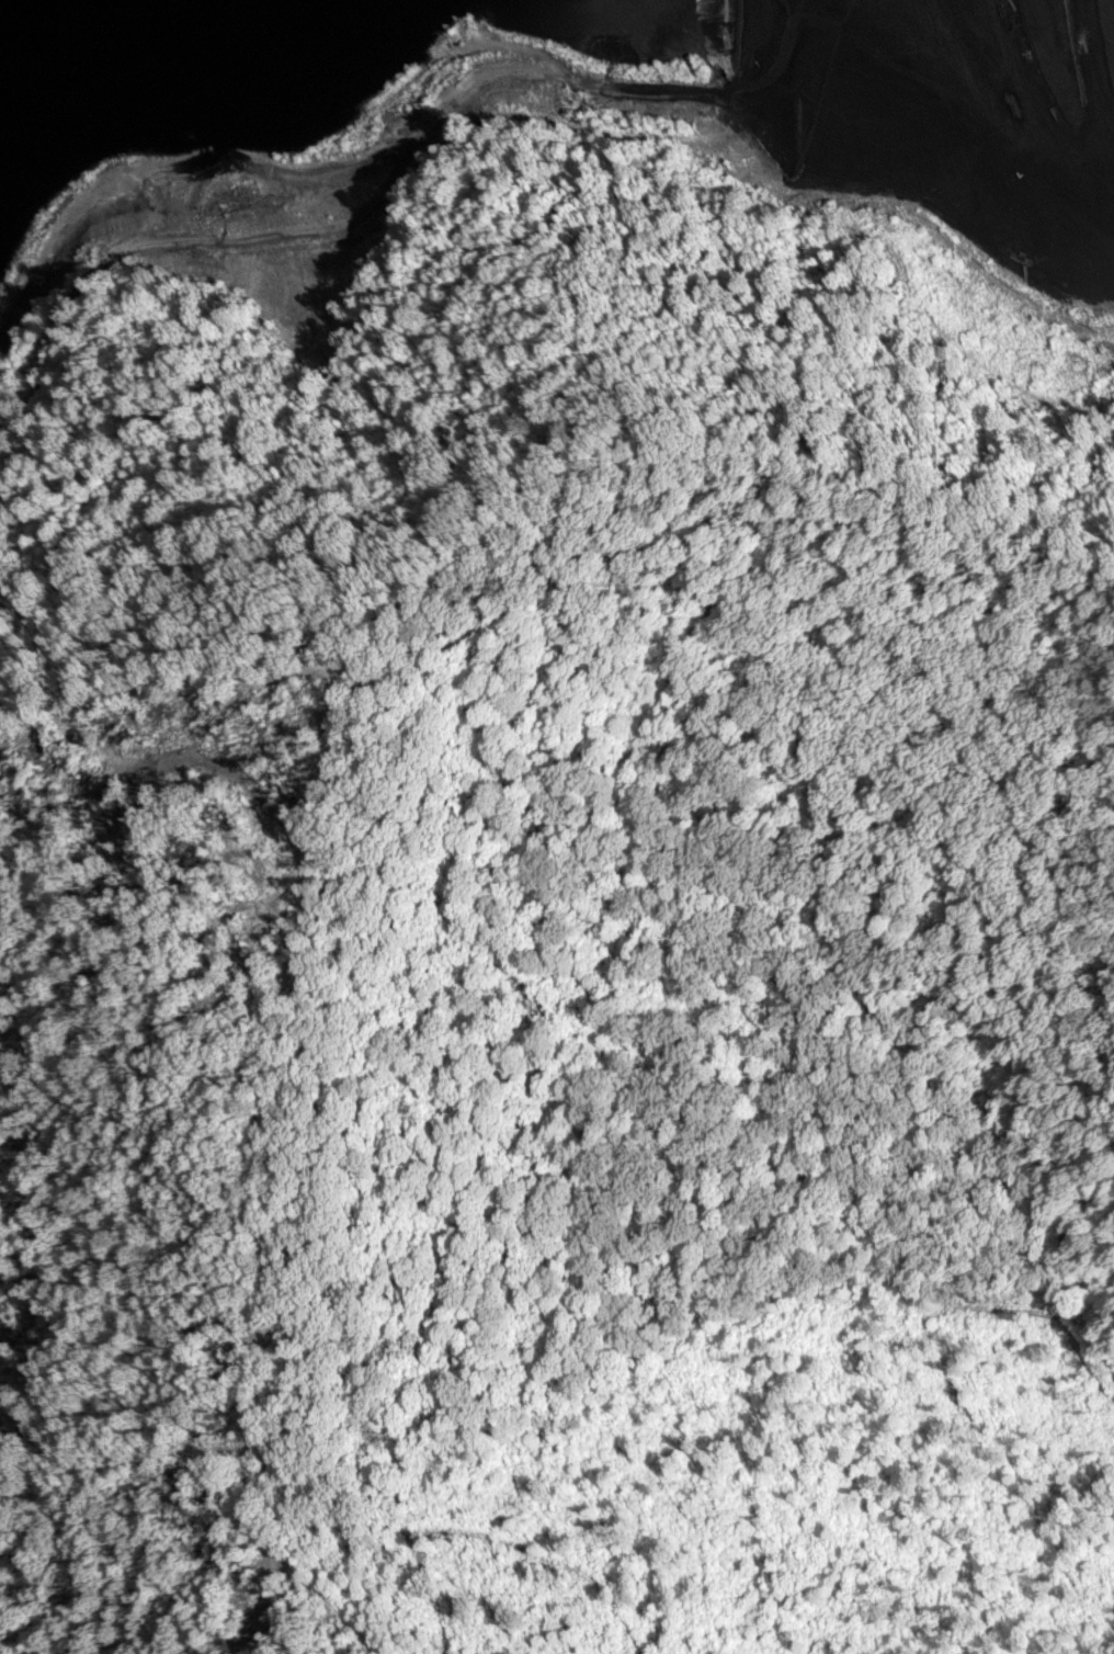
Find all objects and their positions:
quarry: (905, 180)

